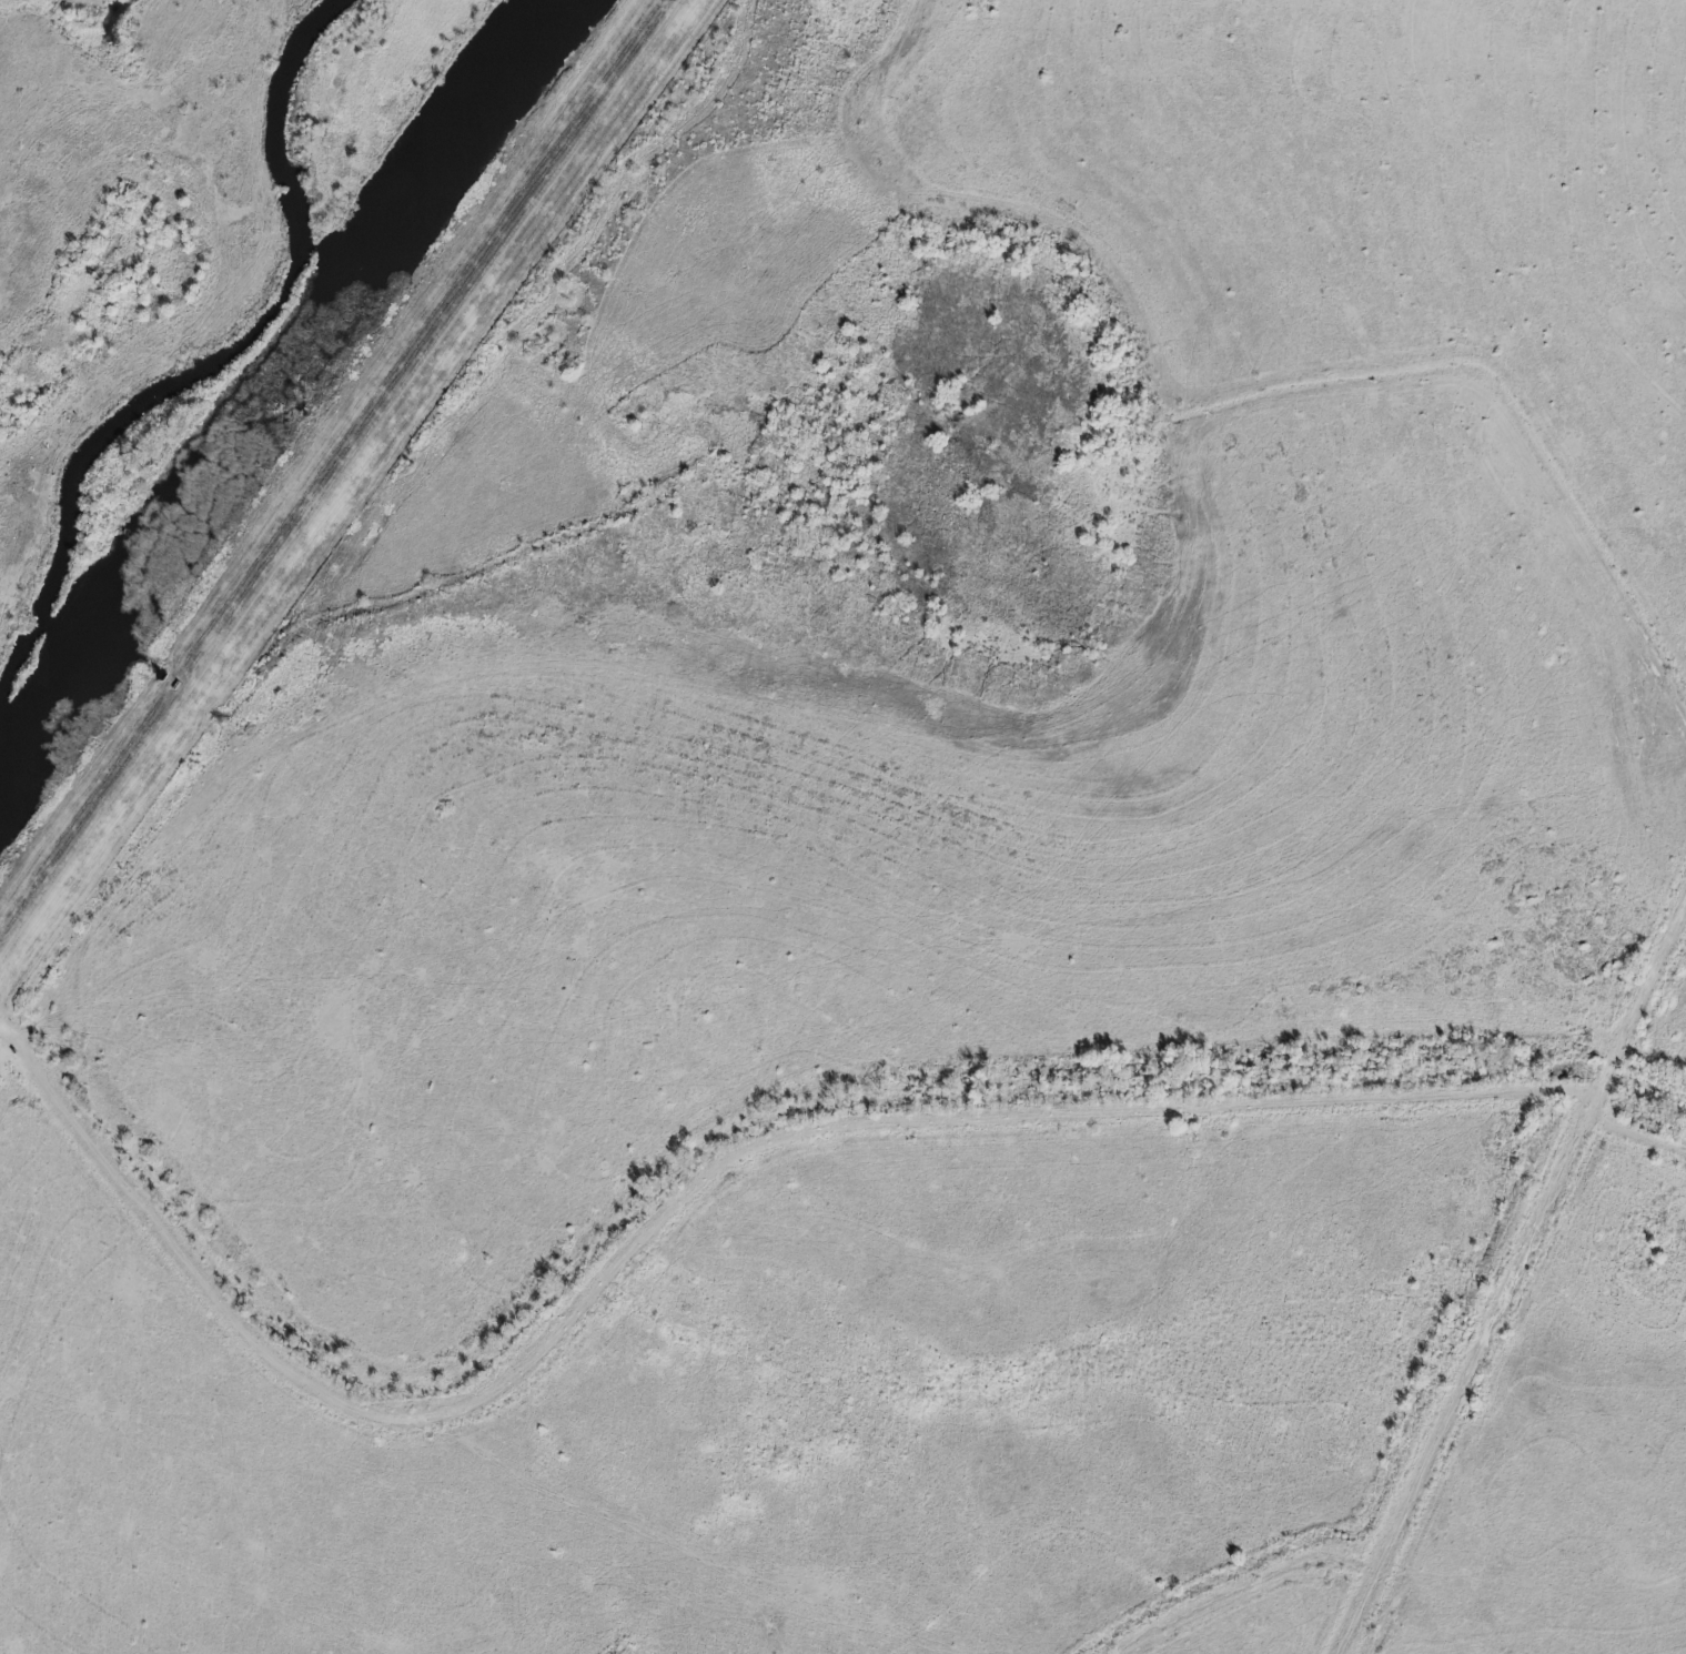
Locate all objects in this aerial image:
road: (340, 480)
road: (717, 1168)
road: (1534, 1239)

